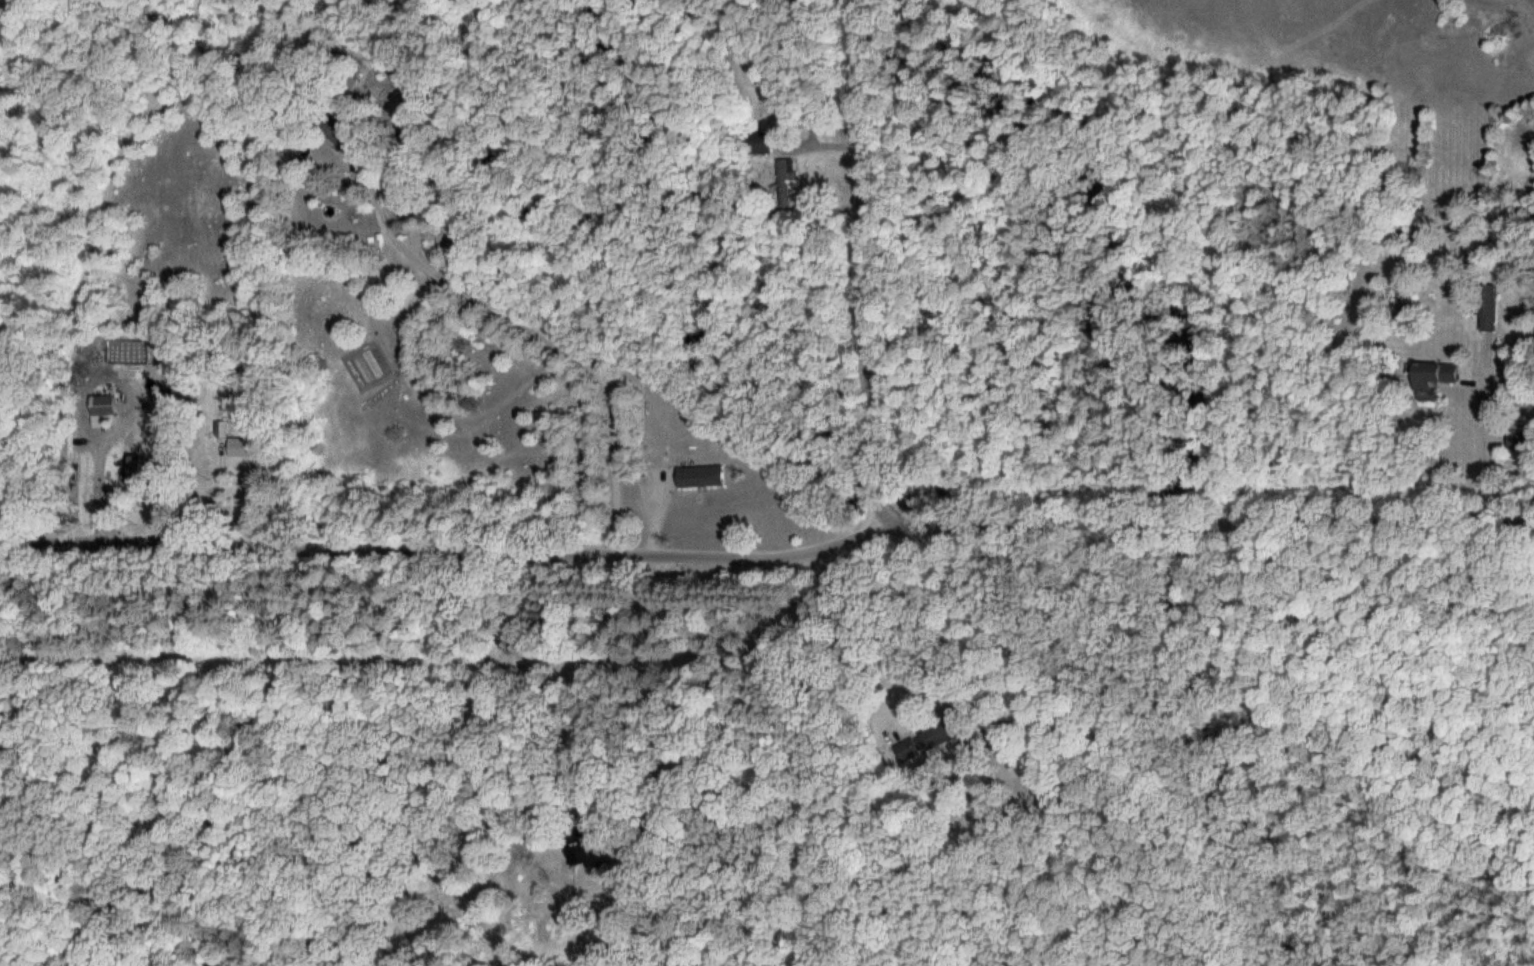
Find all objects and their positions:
building: (760, 143)
building: (782, 185)
road: (864, 263)
road: (73, 296)
building: (1486, 307)
building: (1433, 376)
building: (221, 429)
building: (1516, 441)
building: (242, 447)
road: (669, 462)
building: (700, 477)
road: (1204, 525)
road: (440, 549)
road: (901, 625)
road: (663, 684)
building: (929, 740)
building: (585, 850)

